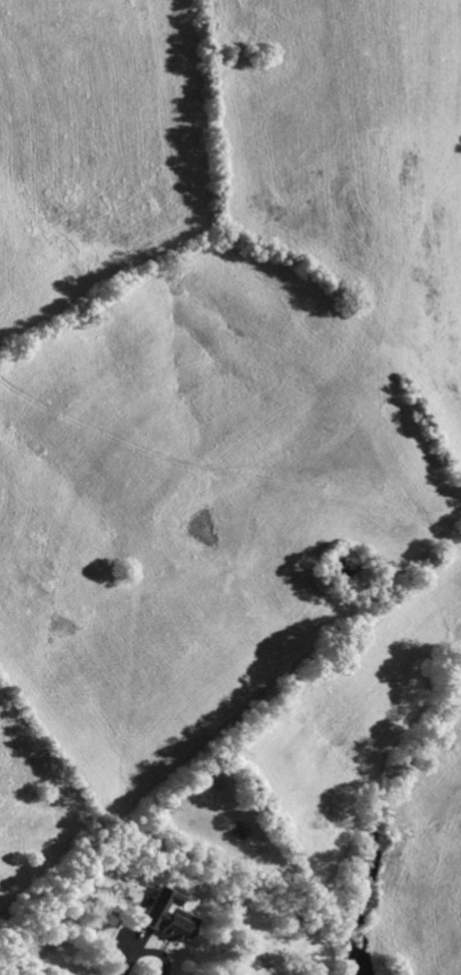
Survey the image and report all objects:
building: (167, 918)

